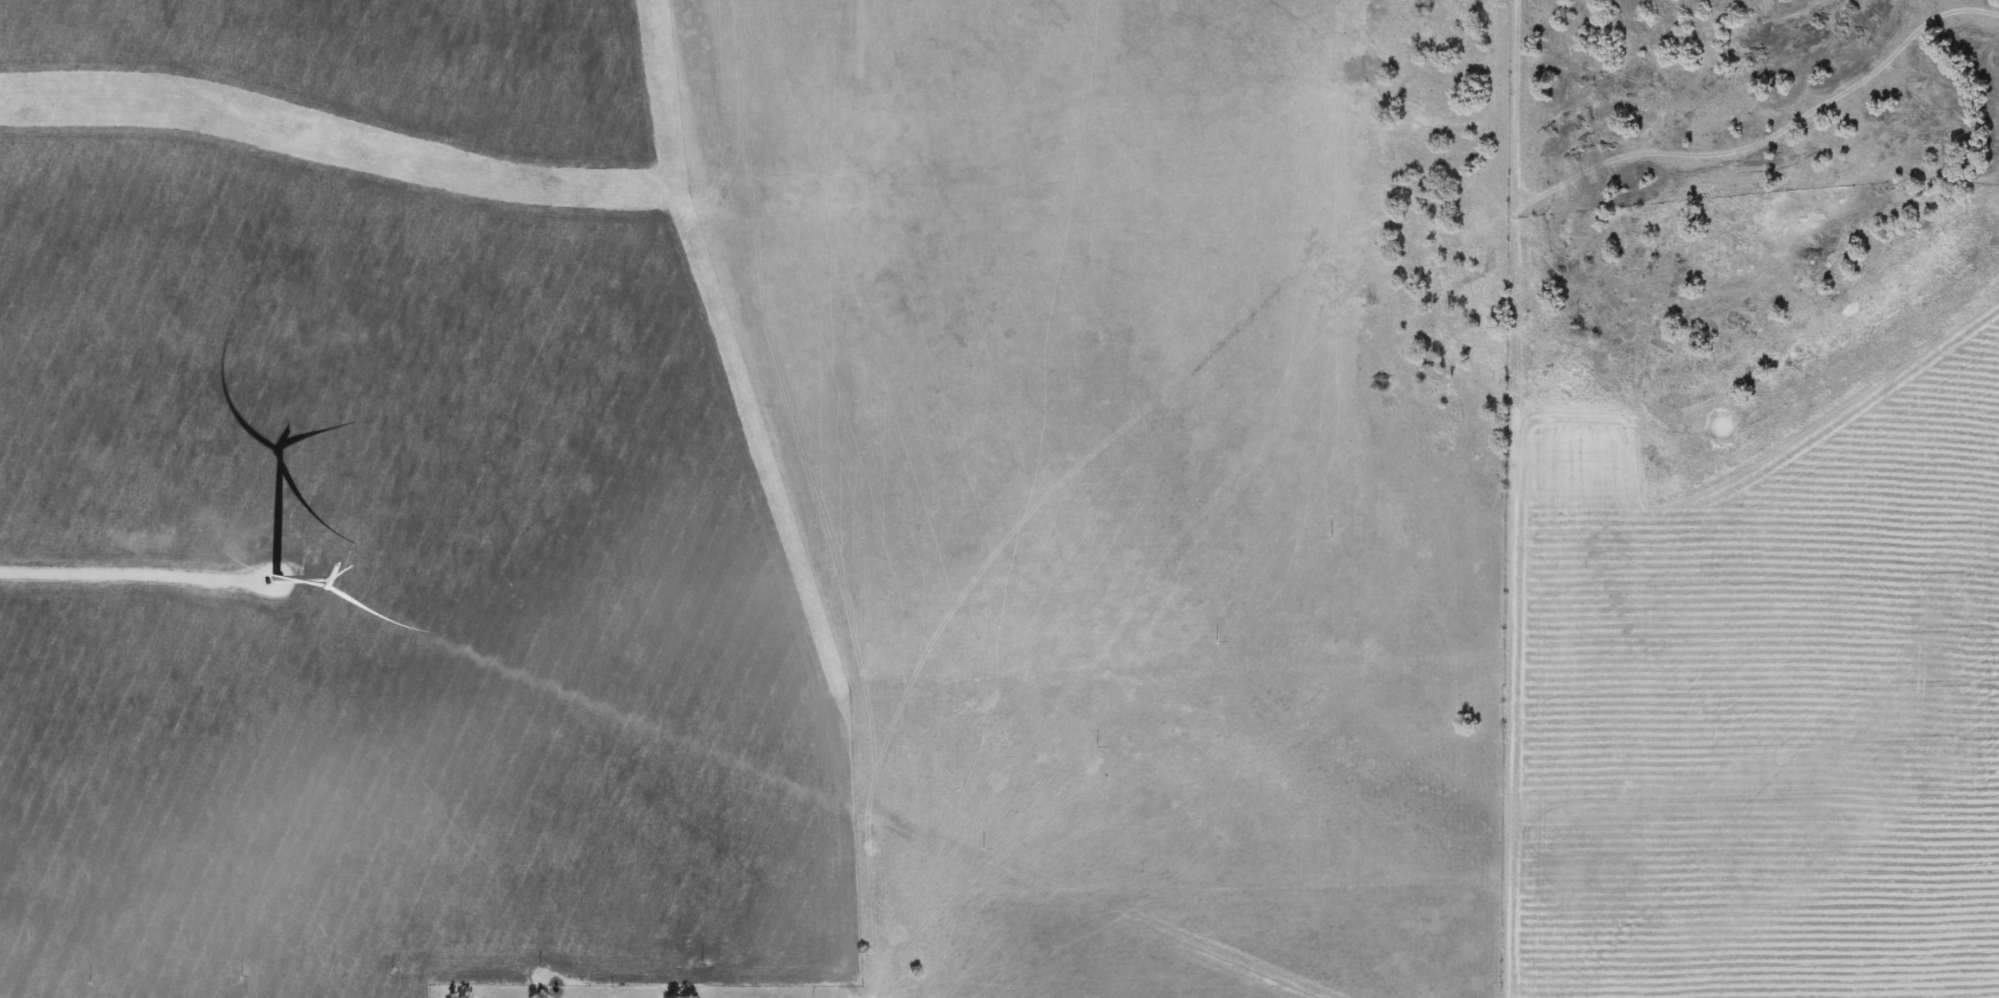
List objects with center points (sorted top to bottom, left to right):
wind turbine: (277, 578)

